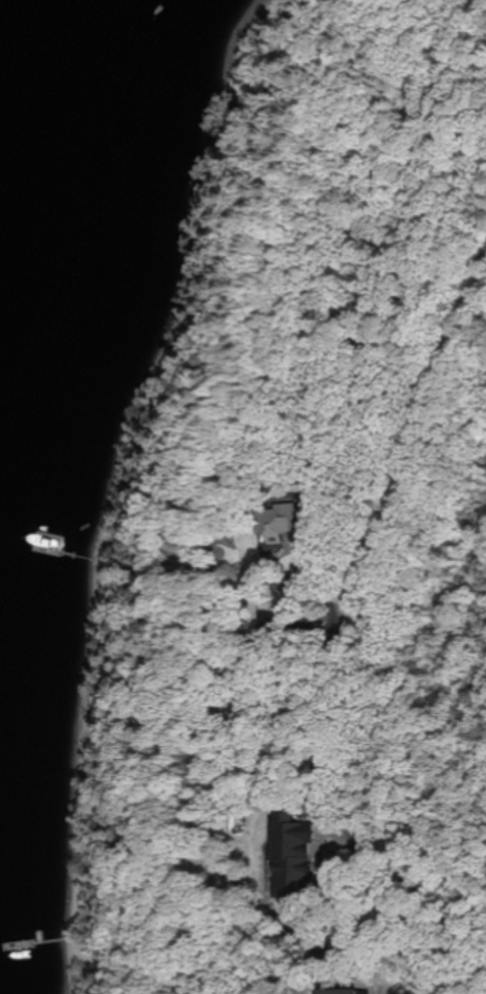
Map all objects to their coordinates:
building: (276, 524)
road: (379, 759)
building: (293, 857)
road: (394, 916)

